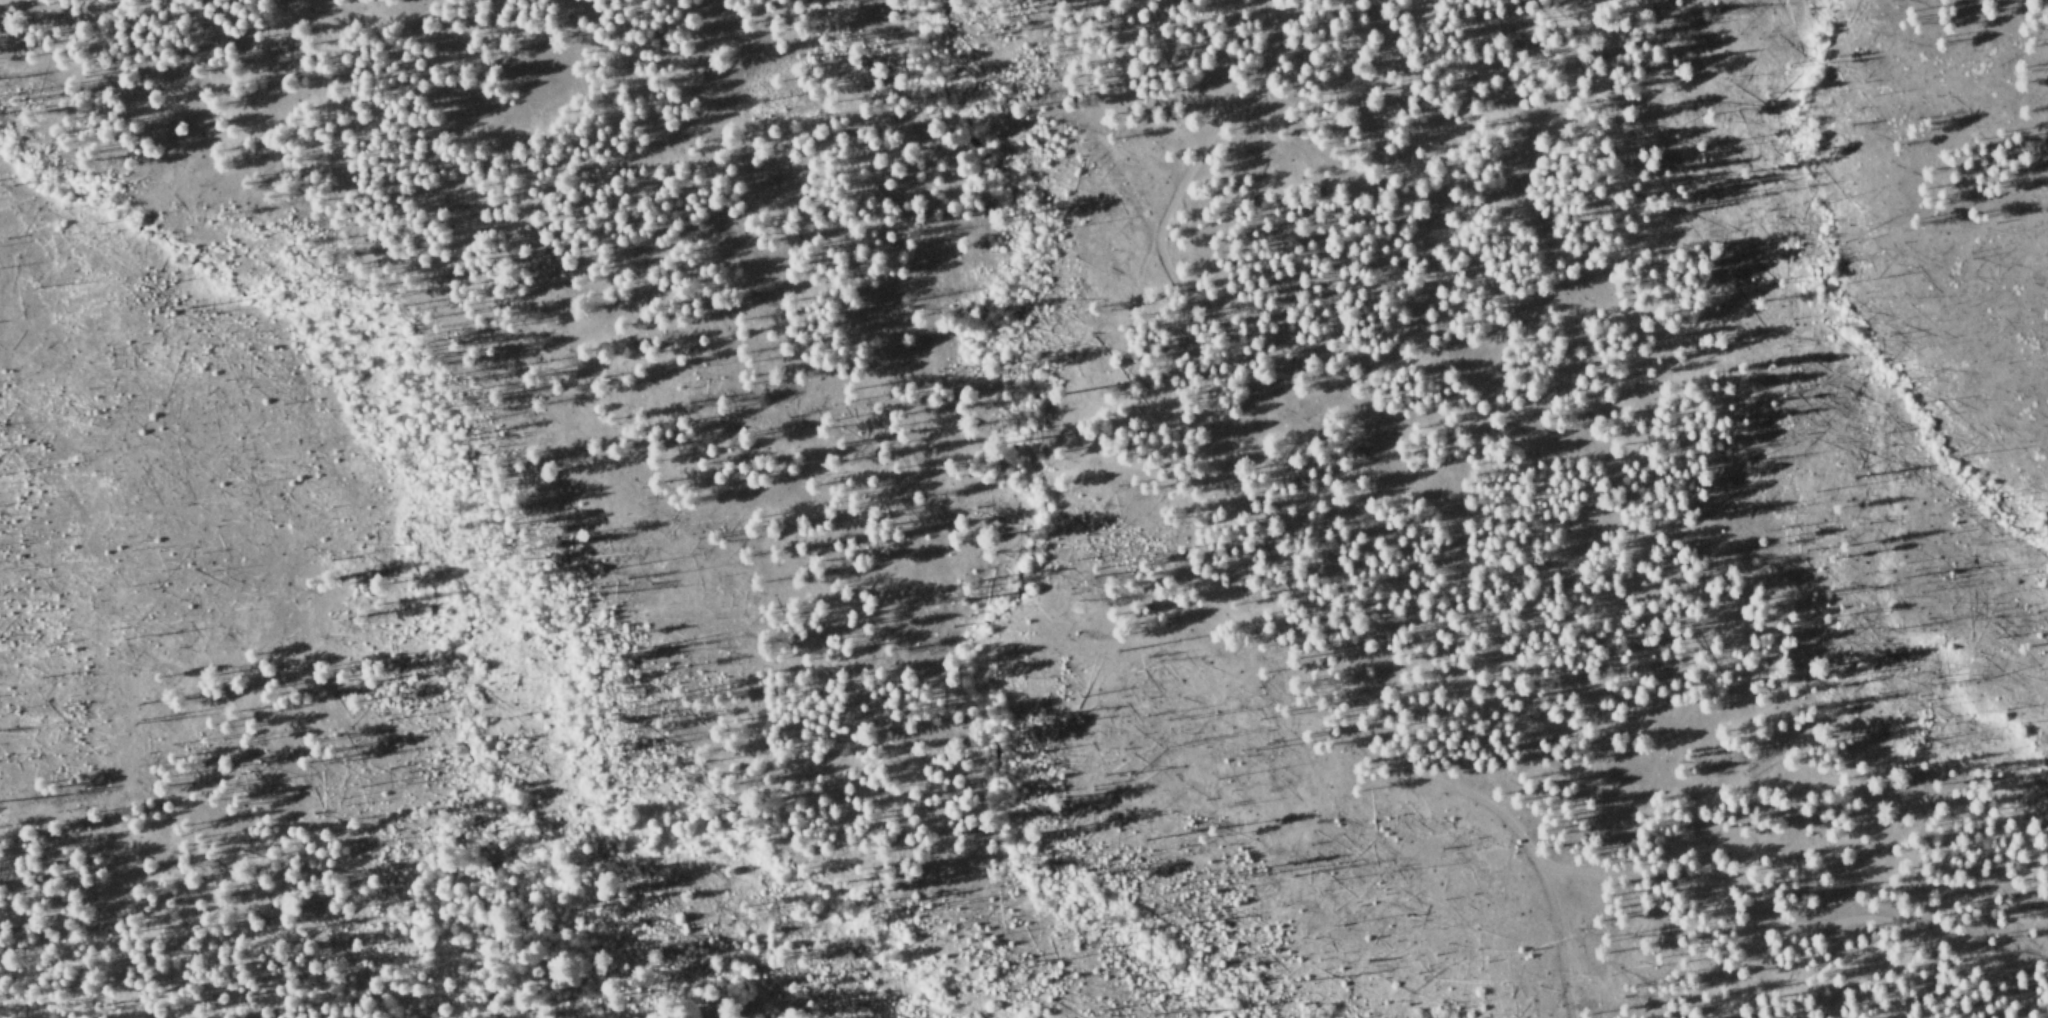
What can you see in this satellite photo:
road: (1315, 540)

